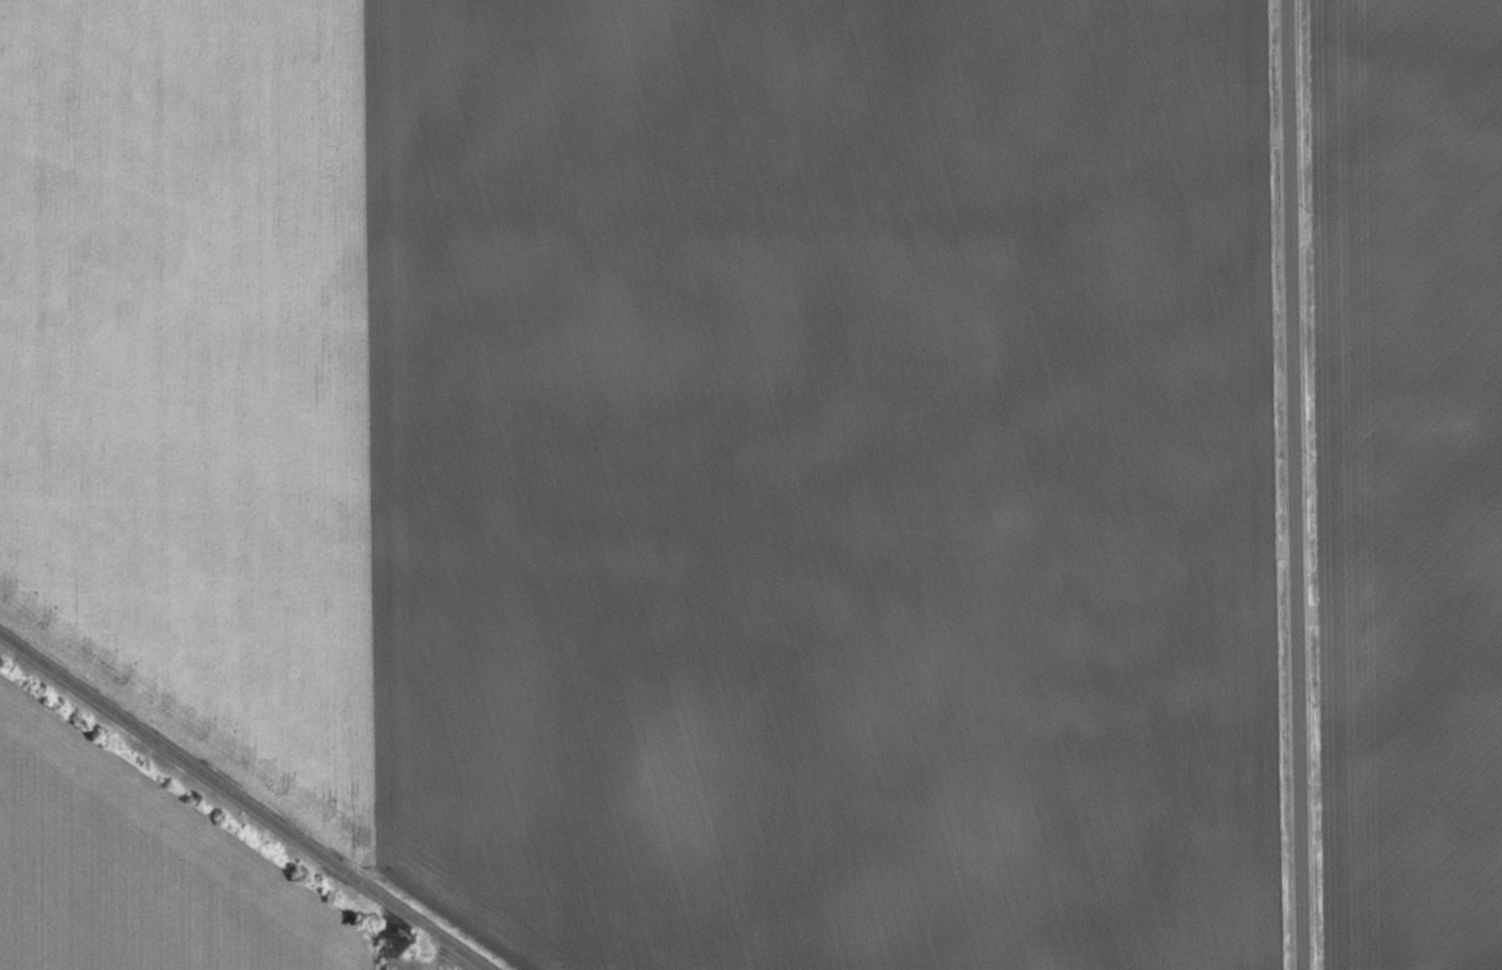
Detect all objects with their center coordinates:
road: (1298, 484)
railway: (243, 801)

